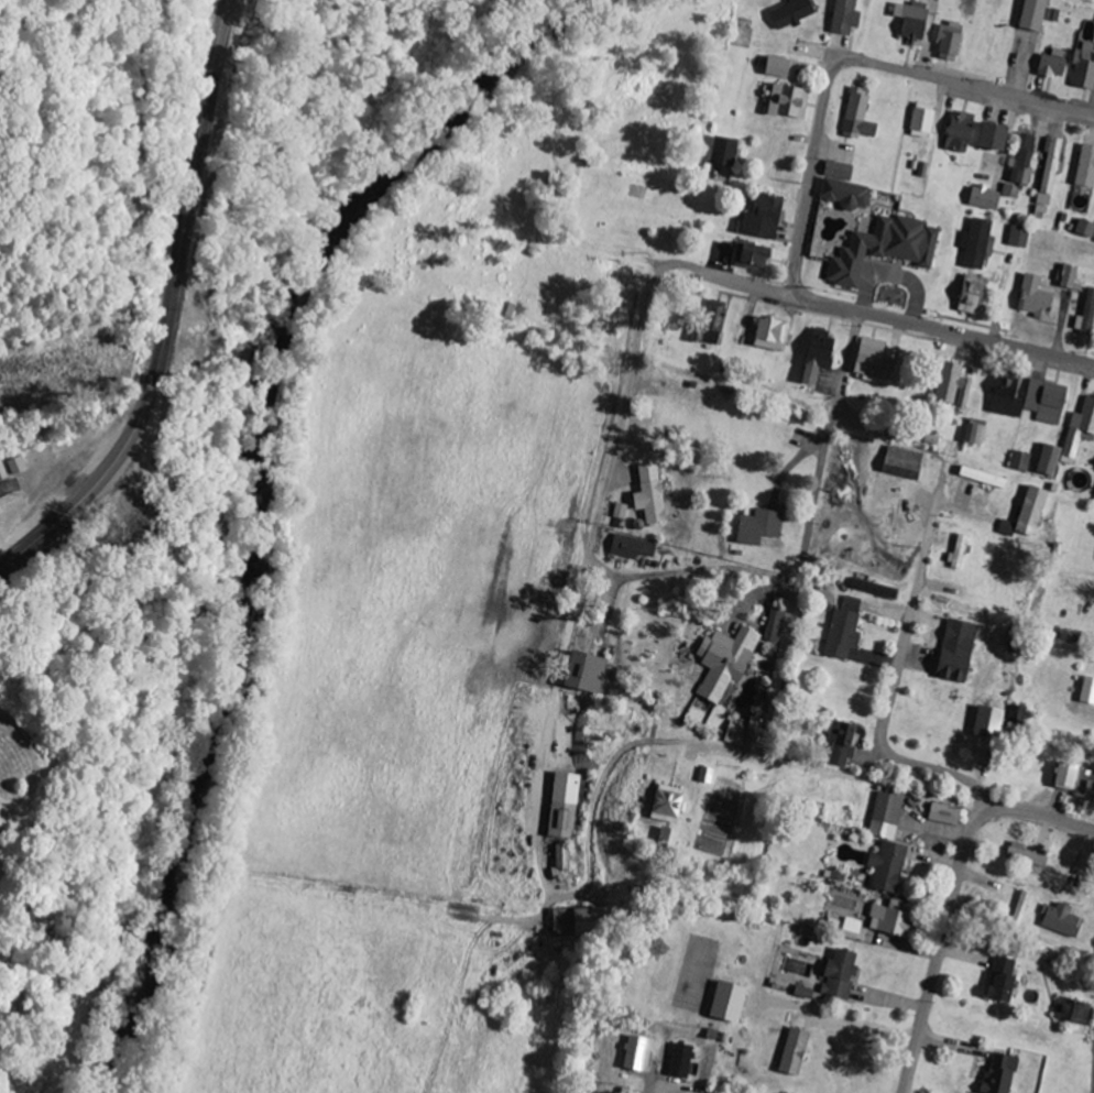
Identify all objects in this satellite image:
building: (965, 7)
building: (788, 14)
building: (1028, 15)
building: (842, 18)
building: (908, 21)
building: (945, 42)
building: (1049, 65)
building: (1082, 72)
building: (784, 103)
building: (854, 118)
building: (920, 121)
building: (955, 133)
building: (988, 139)
building: (720, 153)
building: (1020, 161)
building: (1083, 168)
building: (834, 172)
building: (1047, 176)
building: (842, 196)
road: (806, 199)
building: (981, 199)
building: (758, 219)
building: (1082, 230)
building: (1016, 239)
building: (974, 245)
building: (880, 250)
building: (747, 259)
building: (1065, 277)
building: (969, 296)
building: (1031, 298)
road: (645, 306)
road: (169, 313)
building: (1084, 315)
building: (711, 324)
building: (768, 336)
building: (812, 357)
building: (868, 363)
building: (949, 387)
building: (1003, 401)
building: (1043, 403)
building: (1081, 428)
building: (971, 436)
building: (1017, 462)
building: (1044, 462)
building: (899, 464)
building: (20, 467)
building: (6, 472)
building: (980, 479)
river: (253, 484)
building: (647, 496)
building: (620, 513)
building: (1024, 515)
building: (755, 528)
building: (630, 548)
building: (955, 554)
building: (871, 589)
building: (770, 630)
building: (839, 634)
road: (786, 651)
building: (953, 654)
building: (722, 662)
building: (582, 673)
road: (895, 679)
building: (1085, 691)
building: (1015, 714)
building: (983, 722)
building: (733, 732)
building: (839, 744)
building: (703, 776)
building: (1073, 783)
building: (664, 805)
building: (561, 806)
building: (941, 815)
building: (659, 837)
building: (883, 844)
building: (560, 857)
building: (1030, 859)
road: (951, 896)
building: (1018, 912)
building: (886, 919)
building: (1059, 920)
building: (576, 922)
building: (847, 929)
building: (836, 975)
building: (997, 980)
building: (1069, 1012)
building: (634, 1054)
building: (678, 1061)
building: (997, 1074)
road: (652, 1081)

